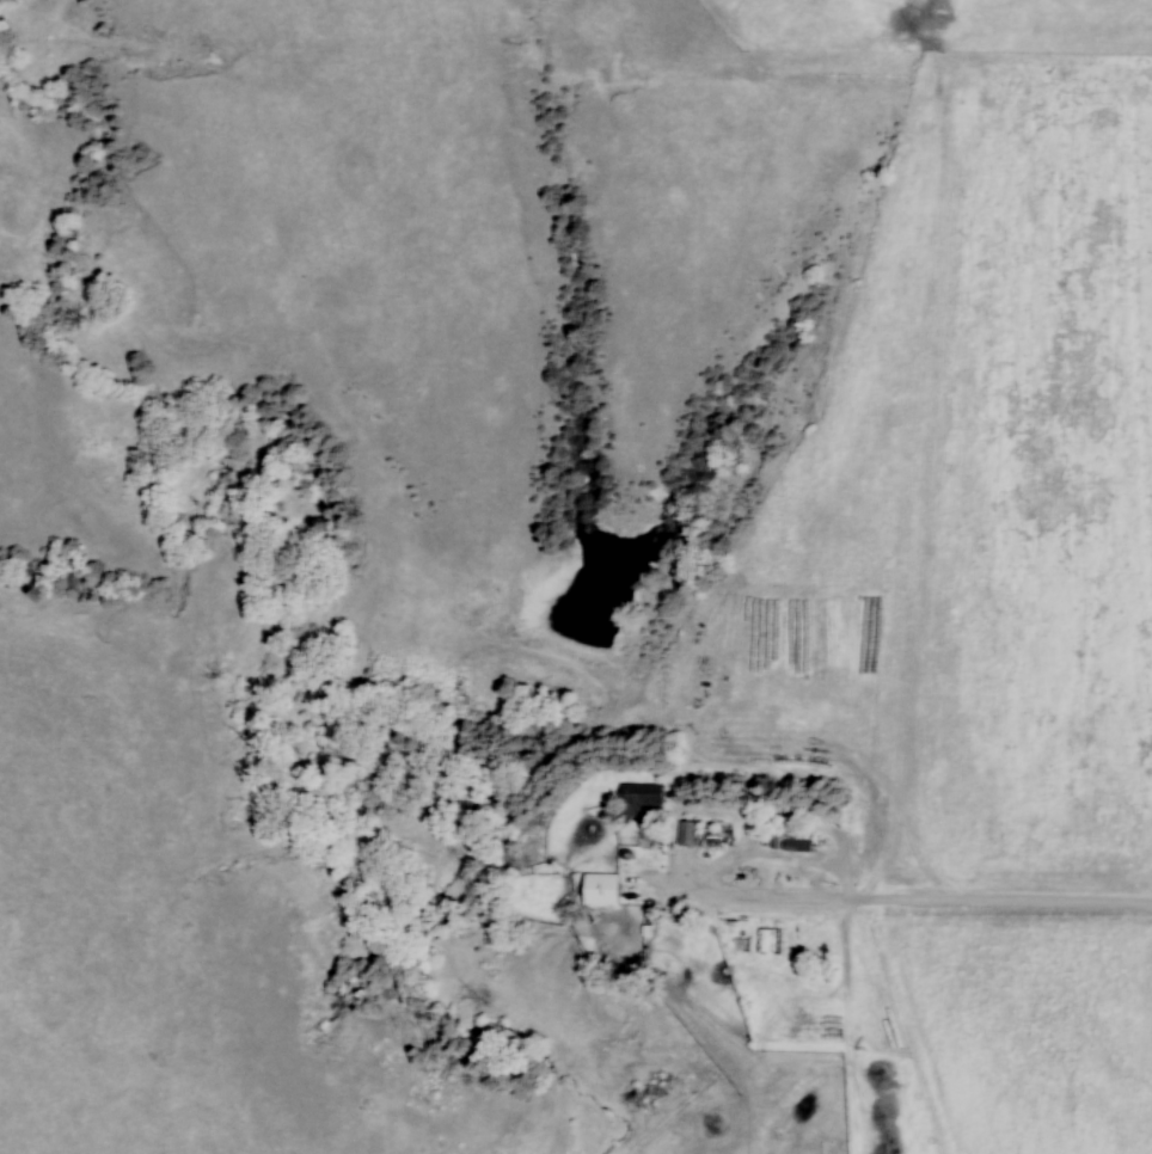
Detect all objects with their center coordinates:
building: (639, 799)
building: (688, 834)
building: (798, 846)
building: (601, 889)
road: (911, 902)
building: (771, 941)

